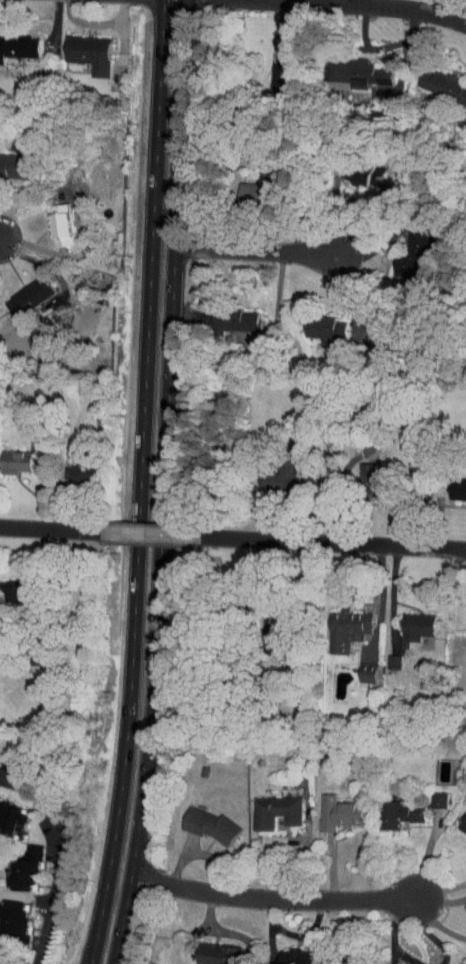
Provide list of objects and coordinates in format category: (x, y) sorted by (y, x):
road: (357, 1)
road: (360, 3)
building: (13, 40)
building: (77, 47)
road: (158, 53)
building: (274, 59)
building: (344, 66)
building: (438, 82)
building: (8, 160)
building: (351, 166)
road: (178, 172)
building: (241, 186)
building: (50, 223)
building: (402, 248)
road: (254, 252)
building: (20, 290)
building: (223, 316)
building: (314, 325)
building: (10, 457)
building: (67, 468)
building: (356, 469)
building: (269, 472)
building: (451, 484)
road: (341, 489)
road: (136, 516)
road: (48, 529)
road: (147, 533)
road: (331, 540)
building: (7, 587)
road: (389, 592)
road: (158, 611)
building: (266, 617)
building: (404, 622)
building: (335, 624)
building: (382, 656)
building: (356, 668)
building: (426, 793)
building: (264, 805)
building: (390, 805)
building: (328, 806)
building: (6, 812)
building: (459, 817)
building: (198, 819)
road: (65, 856)
building: (14, 863)
road: (270, 899)
road: (414, 903)
building: (8, 910)
road: (123, 921)
road: (95, 944)
building: (207, 948)
building: (286, 953)

